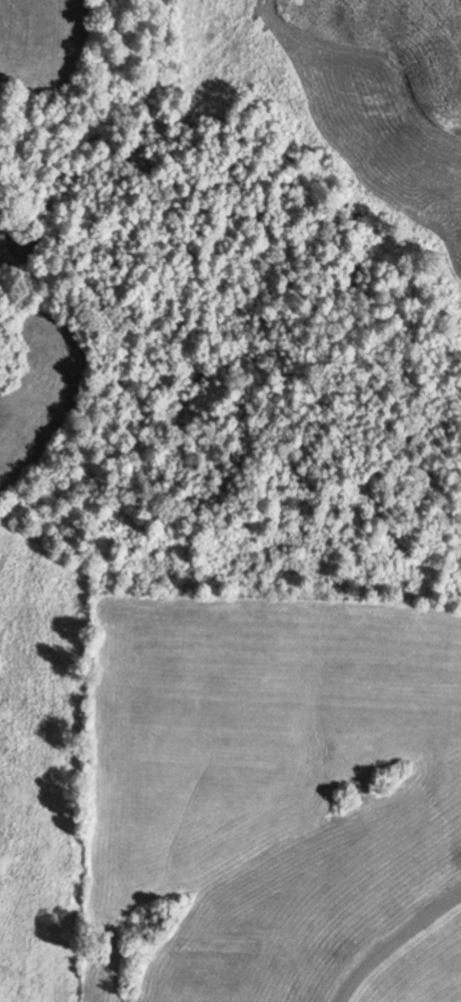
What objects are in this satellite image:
road: (391, 940)

